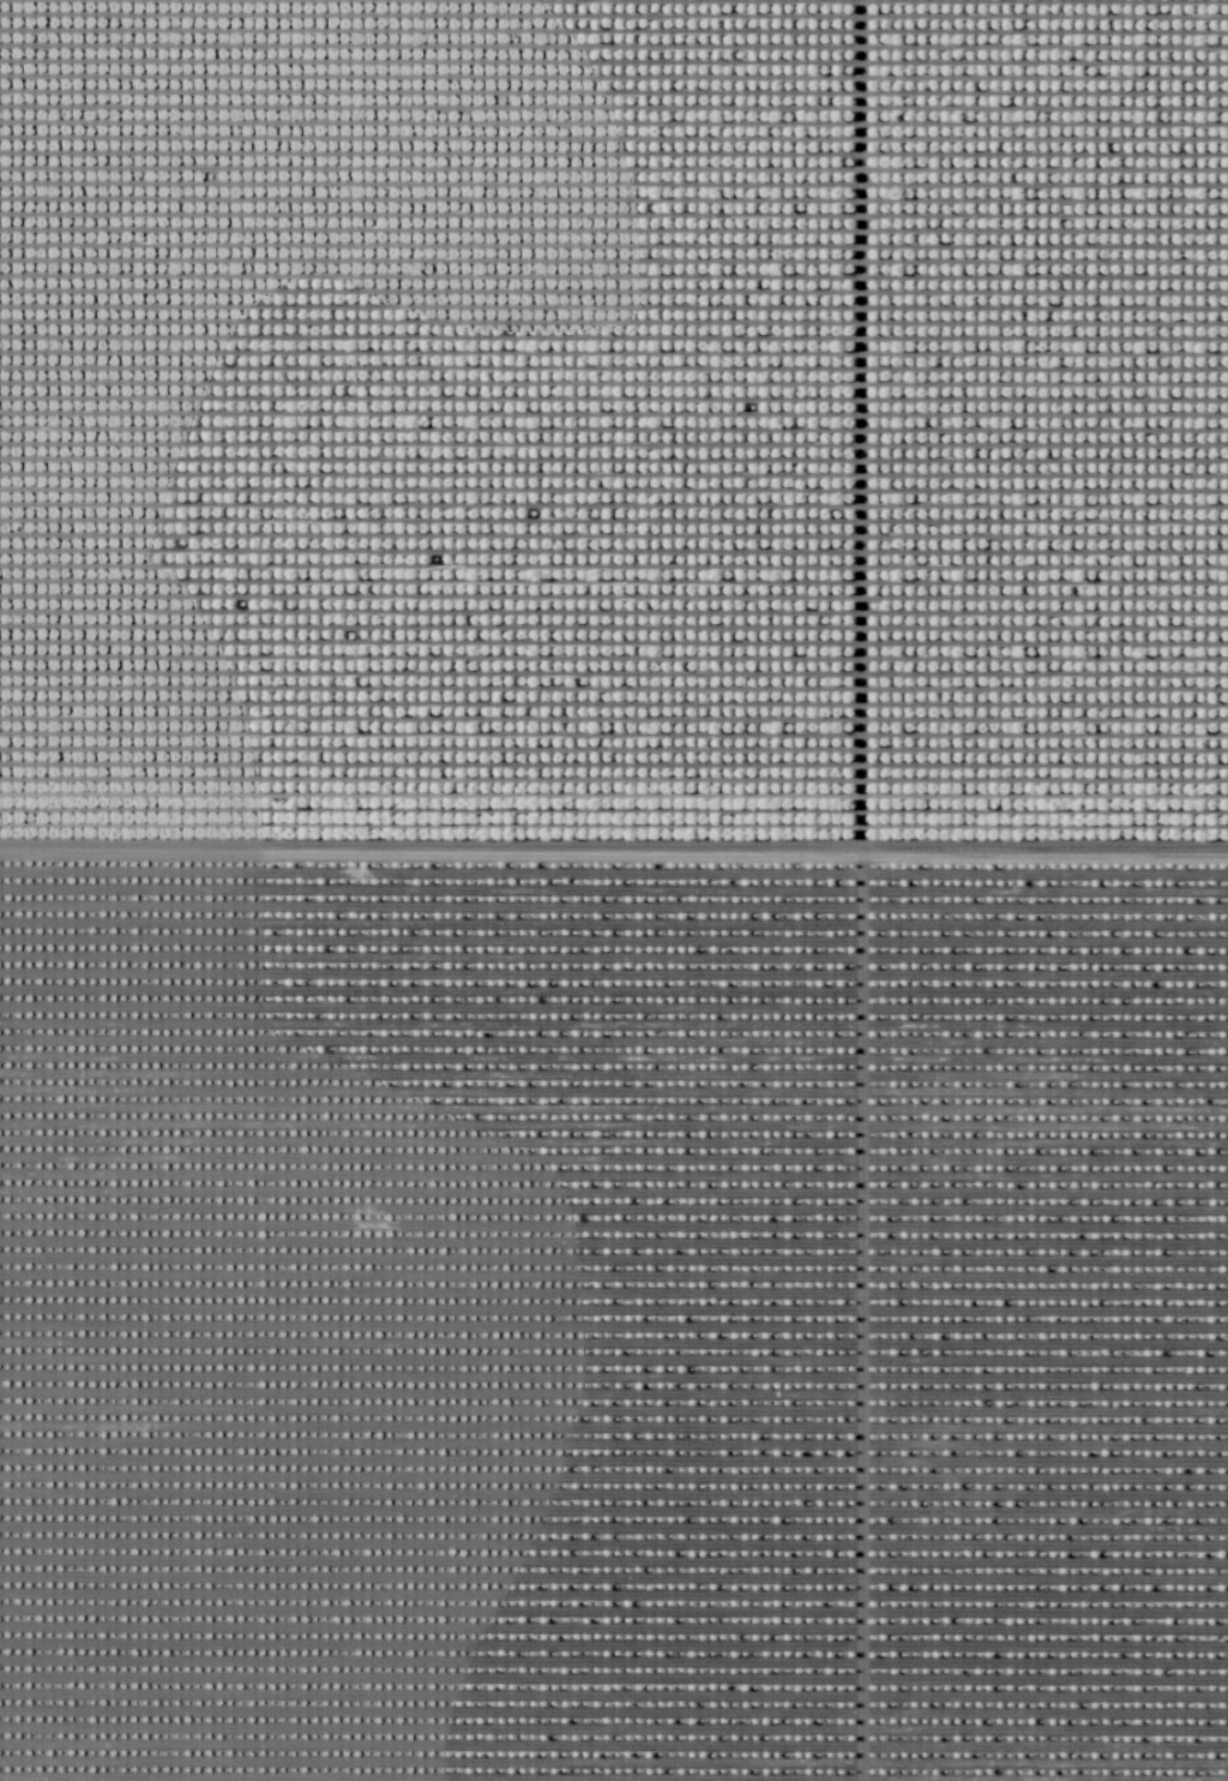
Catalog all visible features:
road: (614, 851)

